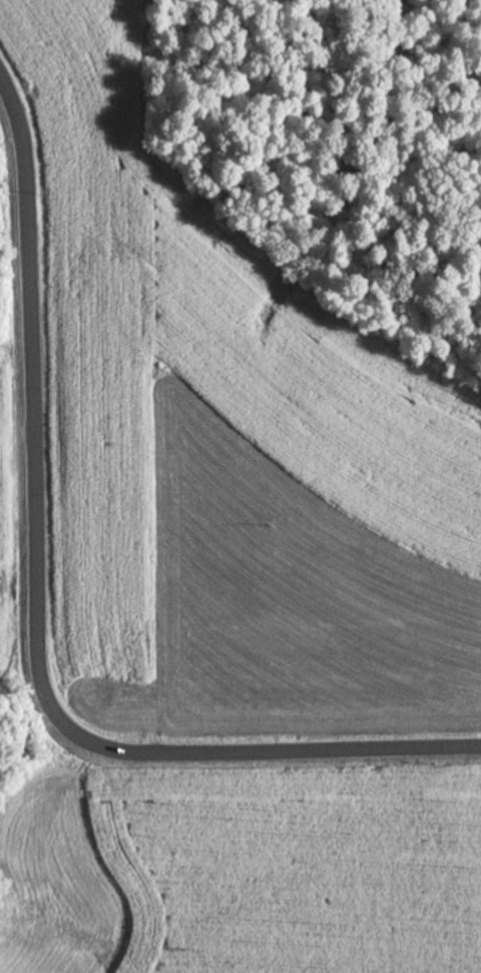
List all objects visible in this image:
road: (36, 615)

